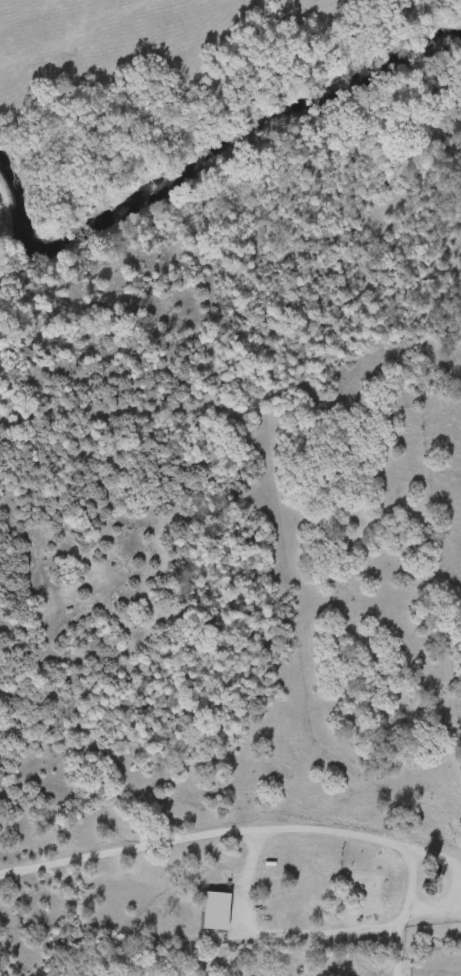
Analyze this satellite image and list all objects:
river: (215, 141)
road: (301, 827)
building: (204, 909)
road: (304, 930)

